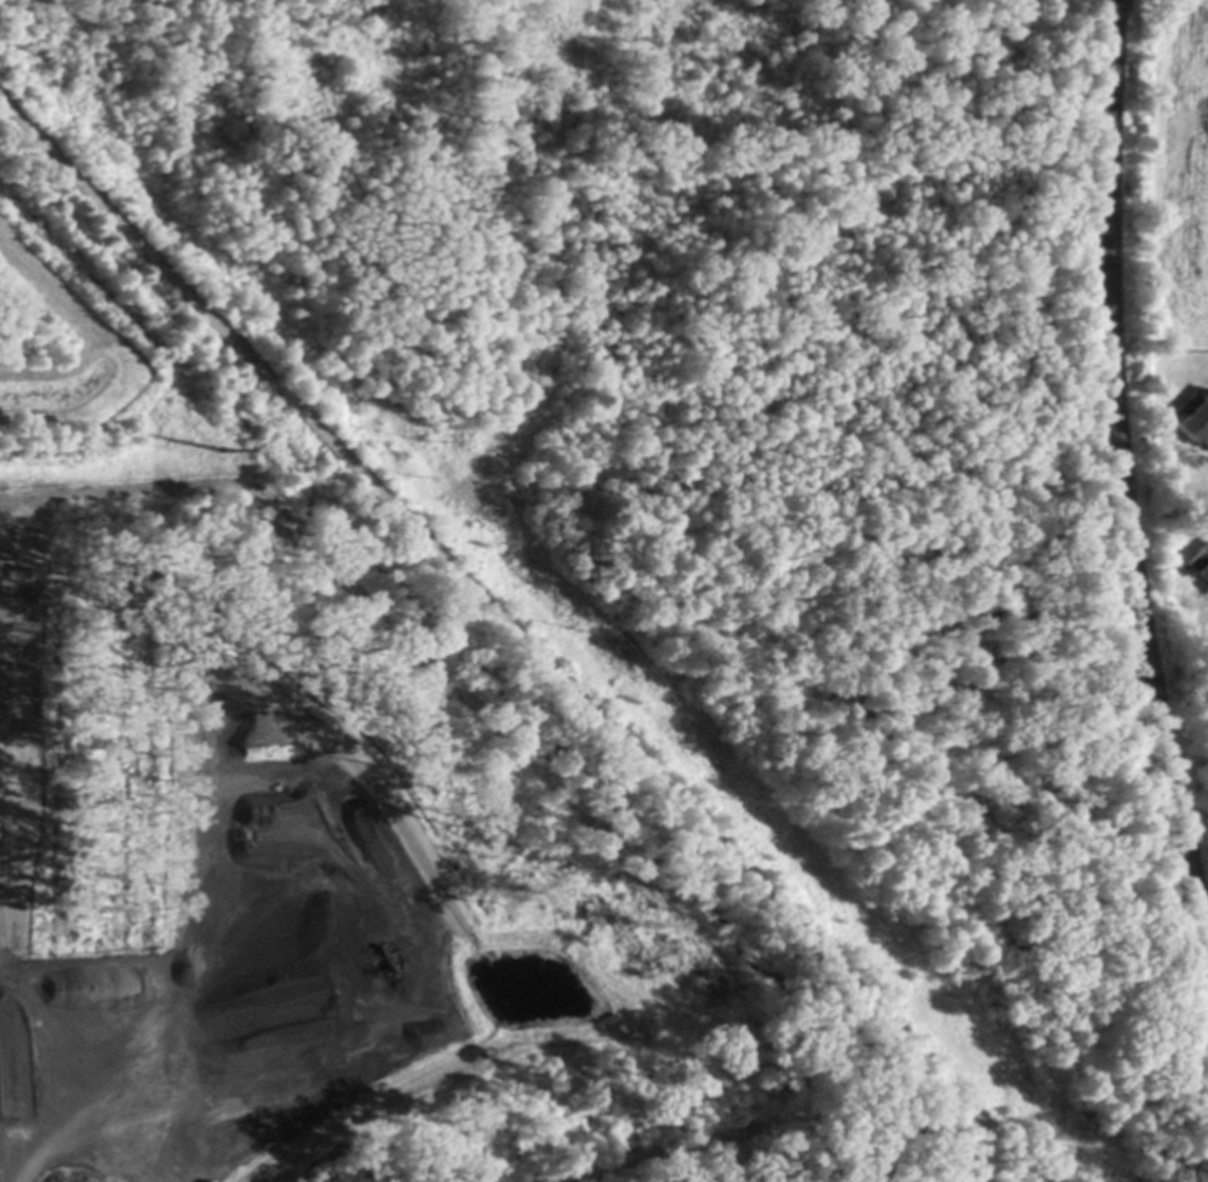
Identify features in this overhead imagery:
crop: (1179, 182)
building: (1196, 426)
power tower: (423, 438)
power tower: (222, 449)
railway: (1121, 470)
power tower: (411, 472)
building: (1200, 564)
power tower: (582, 626)
road: (519, 641)
power tower: (748, 799)
power tower: (916, 972)
park: (834, 1106)
power tower: (1081, 1146)

